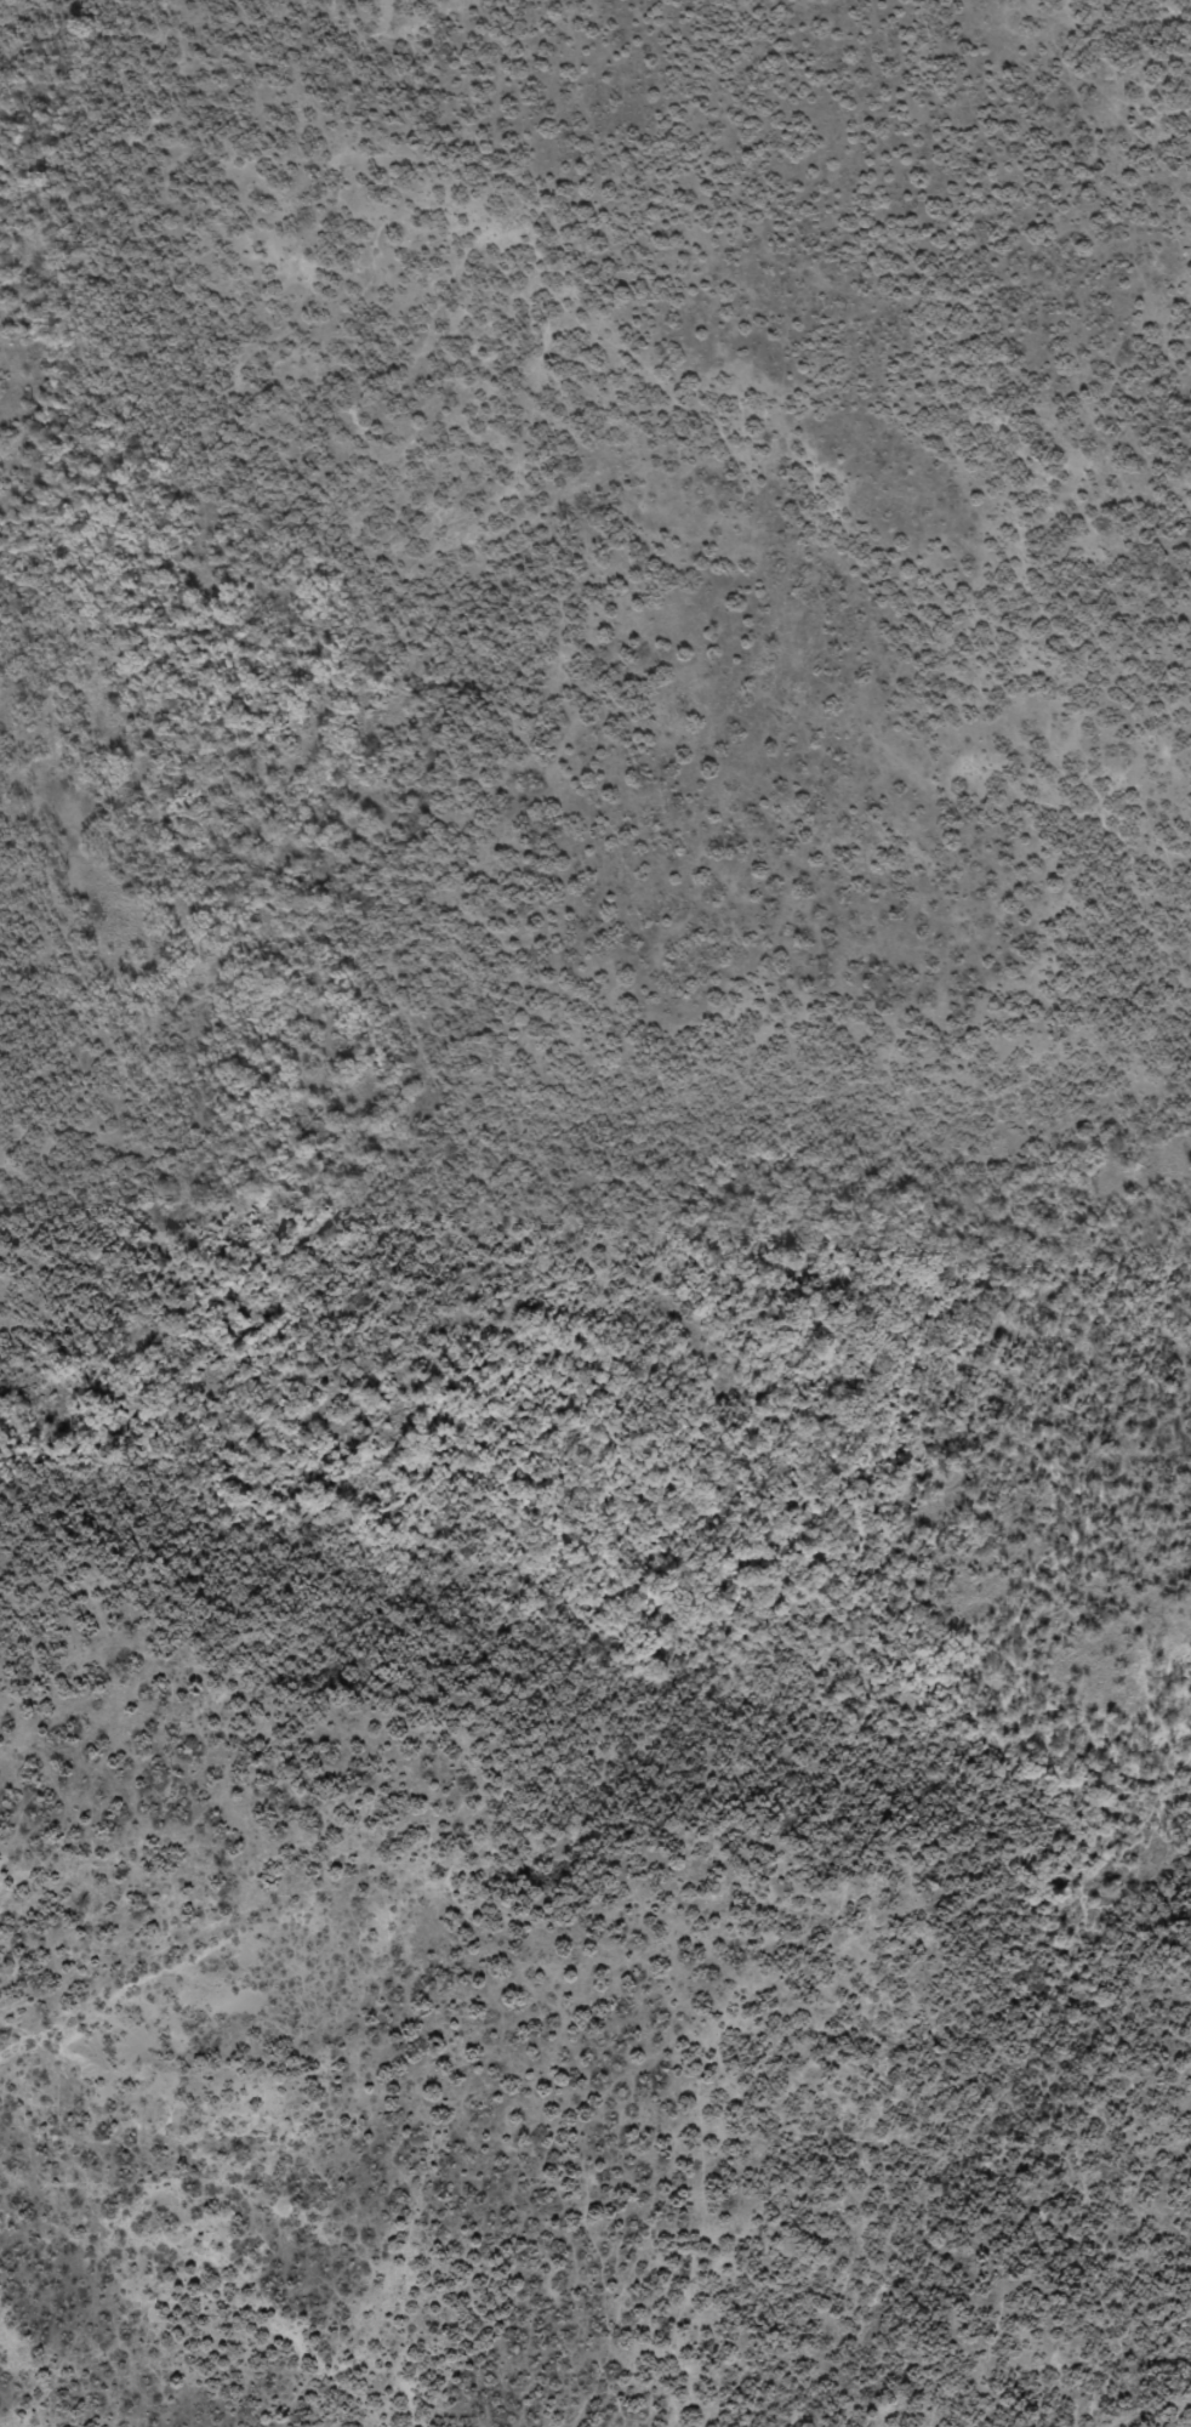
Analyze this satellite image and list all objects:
road: (1159, 2405)

